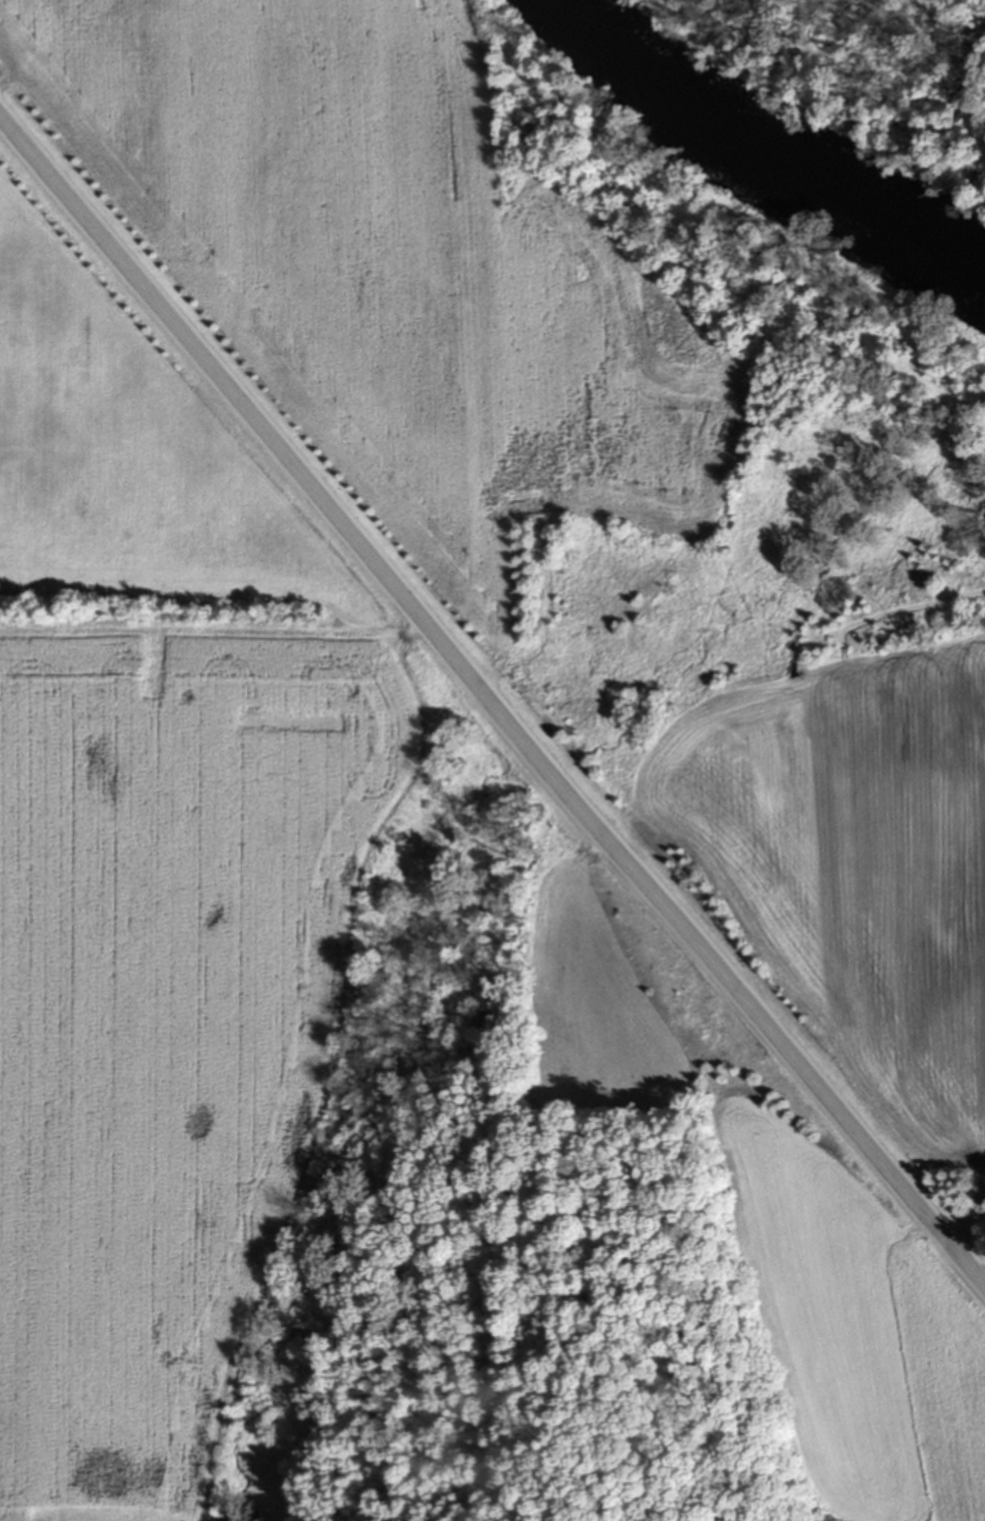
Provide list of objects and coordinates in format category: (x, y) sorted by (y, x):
river: (762, 161)
road: (492, 702)
road: (960, 1223)

